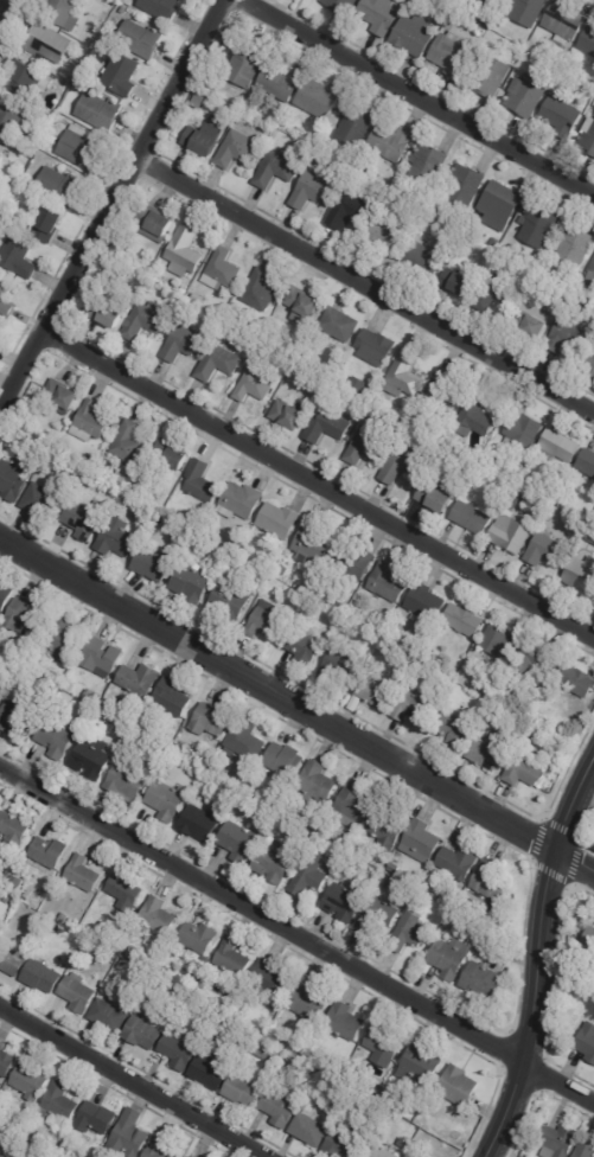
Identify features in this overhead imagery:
road: (0, 0)
building: (419, 0)
building: (490, 4)
building: (343, 5)
building: (164, 7)
building: (528, 11)
building: (63, 13)
building: (381, 14)
building: (567, 19)
building: (452, 21)
building: (414, 34)
building: (142, 38)
building: (589, 40)
building: (47, 43)
building: (452, 51)
building: (219, 56)
building: (525, 56)
building: (81, 59)
building: (247, 64)
building: (581, 73)
building: (123, 75)
building: (492, 76)
building: (26, 81)
building: (281, 81)
building: (65, 87)
building: (526, 95)
building: (243, 97)
building: (319, 98)
road: (419, 98)
building: (101, 111)
building: (561, 115)
building: (11, 117)
building: (355, 126)
building: (588, 136)
building: (206, 138)
building: (52, 139)
building: (391, 142)
building: (81, 146)
building: (236, 148)
building: (2, 154)
building: (430, 164)
building: (279, 168)
building: (355, 174)
building: (59, 185)
building: (466, 185)
building: (355, 187)
building: (312, 190)
building: (504, 198)
road: (111, 200)
building: (435, 206)
building: (350, 211)
building: (50, 223)
building: (158, 224)
building: (539, 226)
building: (384, 237)
building: (575, 247)
building: (186, 250)
building: (123, 254)
building: (422, 257)
building: (19, 258)
building: (222, 269)
building: (590, 275)
building: (462, 283)
road: (364, 287)
building: (260, 290)
building: (497, 293)
building: (6, 298)
building: (305, 306)
building: (108, 313)
building: (146, 320)
building: (534, 320)
building: (339, 325)
building: (570, 334)
building: (183, 343)
building: (377, 347)
building: (218, 363)
building: (590, 363)
building: (405, 375)
building: (359, 384)
building: (254, 386)
building: (445, 391)
building: (64, 394)
building: (372, 408)
building: (292, 414)
building: (477, 415)
building: (90, 422)
building: (328, 427)
building: (408, 428)
building: (523, 429)
building: (128, 443)
building: (368, 446)
building: (561, 447)
building: (446, 449)
building: (39, 454)
building: (488, 456)
building: (404, 462)
building: (587, 462)
building: (79, 471)
building: (190, 471)
building: (91, 479)
building: (13, 480)
building: (510, 484)
road: (317, 485)
building: (437, 494)
building: (531, 499)
building: (517, 500)
building: (43, 501)
building: (241, 501)
building: (494, 509)
building: (472, 517)
building: (85, 518)
building: (277, 522)
building: (512, 533)
building: (590, 537)
building: (119, 539)
building: (312, 541)
building: (549, 551)
building: (357, 562)
building: (154, 563)
building: (582, 575)
building: (191, 582)
building: (388, 582)
building: (5, 595)
building: (231, 600)
building: (426, 606)
building: (26, 616)
building: (465, 619)
building: (267, 622)
building: (451, 637)
building: (62, 639)
building: (500, 641)
building: (304, 648)
building: (102, 657)
building: (396, 660)
building: (537, 661)
building: (340, 666)
building: (140, 678)
building: (579, 682)
building: (492, 686)
building: (377, 691)
building: (1, 693)
road: (275, 693)
building: (94, 696)
building: (173, 697)
building: (356, 704)
building: (414, 708)
building: (212, 720)
building: (18, 721)
building: (453, 731)
building: (56, 737)
building: (245, 740)
building: (179, 747)
building: (488, 755)
building: (91, 758)
building: (287, 759)
building: (529, 769)
building: (319, 779)
building: (127, 781)
building: (167, 799)
building: (356, 801)
road: (571, 803)
building: (200, 823)
building: (13, 827)
building: (387, 829)
building: (422, 837)
building: (239, 842)
building: (364, 842)
building: (301, 846)
building: (50, 851)
building: (460, 859)
road: (573, 859)
building: (275, 862)
building: (83, 872)
building: (312, 874)
building: (1, 878)
building: (492, 880)
building: (383, 883)
building: (437, 888)
building: (124, 891)
building: (346, 902)
building: (479, 903)
building: (378, 914)
building: (158, 915)
building: (64, 919)
building: (452, 919)
building: (69, 922)
building: (56, 928)
building: (435, 931)
building: (410, 933)
road: (296, 935)
building: (72, 937)
building: (199, 937)
building: (587, 938)
building: (139, 940)
building: (114, 942)
building: (132, 952)
building: (234, 958)
building: (395, 958)
building: (452, 958)
building: (593, 958)
building: (12, 959)
building: (204, 959)
building: (43, 974)
building: (273, 978)
building: (483, 982)
building: (78, 992)
building: (311, 1002)
road: (534, 1005)
building: (225, 1008)
building: (109, 1015)
building: (346, 1021)
building: (143, 1033)
building: (387, 1040)
building: (585, 1042)
building: (260, 1049)
building: (179, 1051)
building: (302, 1051)
building: (6, 1062)
building: (422, 1062)
building: (321, 1065)
building: (210, 1073)
building: (338, 1073)
building: (280, 1076)
building: (350, 1079)
building: (30, 1080)
road: (130, 1084)
building: (460, 1085)
building: (243, 1091)
building: (58, 1104)
building: (280, 1107)
building: (326, 1113)
building: (96, 1118)
building: (68, 1127)
building: (311, 1131)
building: (129, 1136)
building: (405, 1142)
building: (553, 1142)
building: (345, 1145)
building: (159, 1148)
building: (382, 1148)
building: (63, 1151)
building: (582, 1151)
building: (2, 1155)
building: (184, 1156)
building: (191, 1156)

